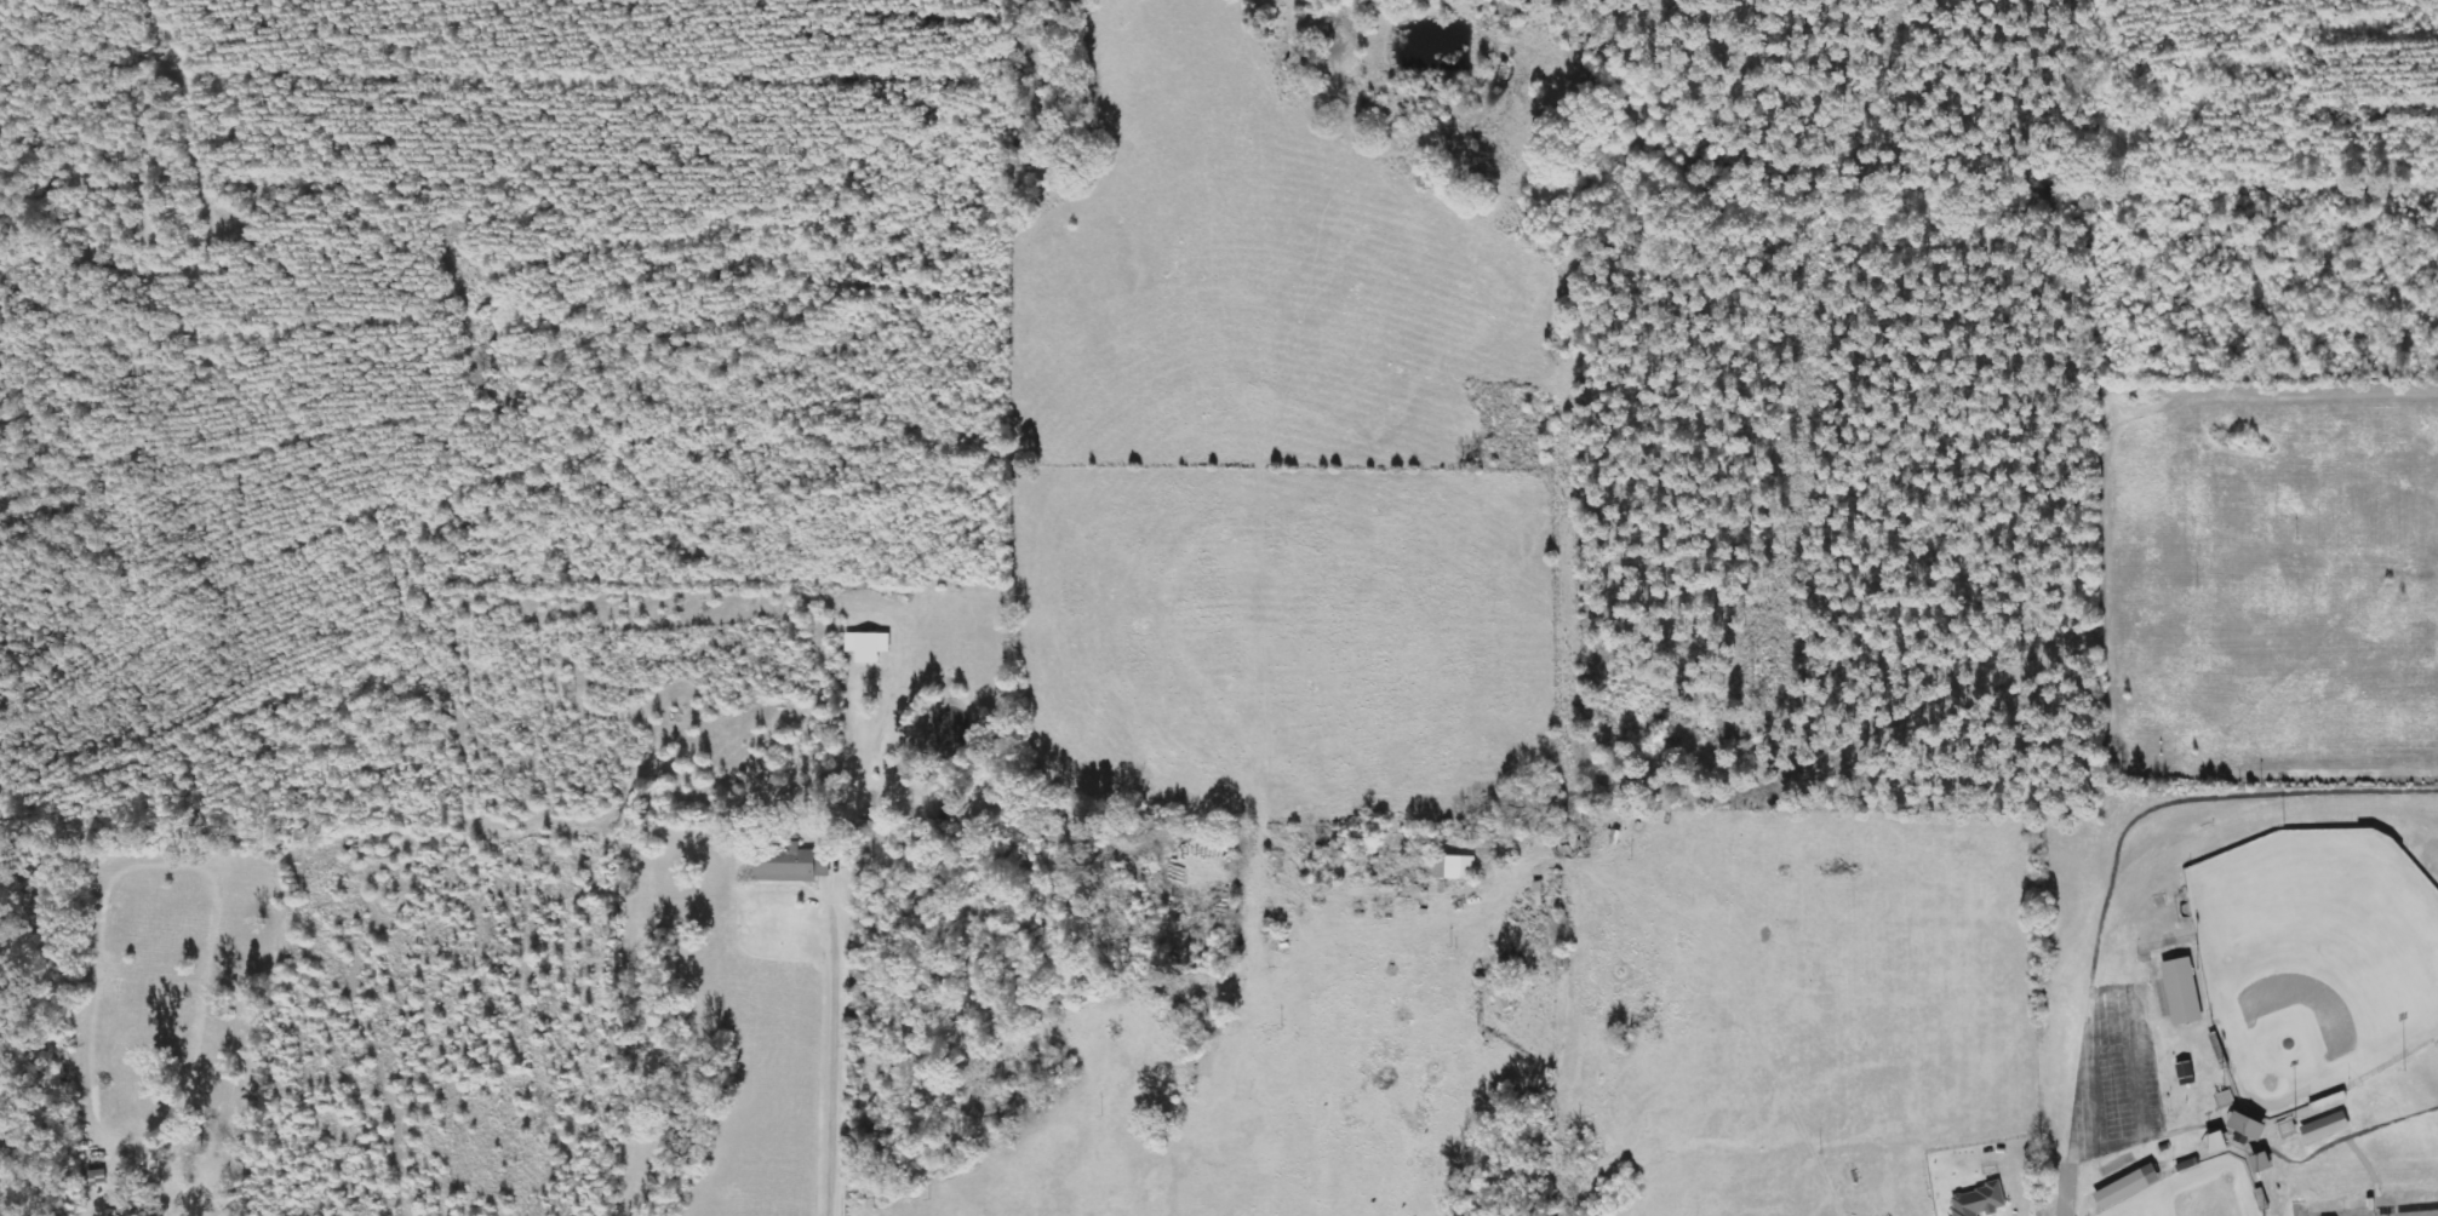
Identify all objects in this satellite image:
building: (869, 646)
road: (2192, 798)
building: (791, 865)
building: (1456, 867)
park: (2313, 958)
building: (2181, 990)
building: (1503, 996)
park: (2236, 998)
road: (2089, 1071)
parking lot: (2112, 1073)
building: (2184, 1073)
road: (2139, 1109)
building: (2251, 1128)
building: (2314, 1129)
building: (2220, 1141)
road: (2291, 1161)
building: (2265, 1163)
road: (2368, 1169)
building: (2121, 1188)
park: (2194, 1192)
building: (1980, 1200)
road: (2368, 1208)
building: (2394, 1215)

